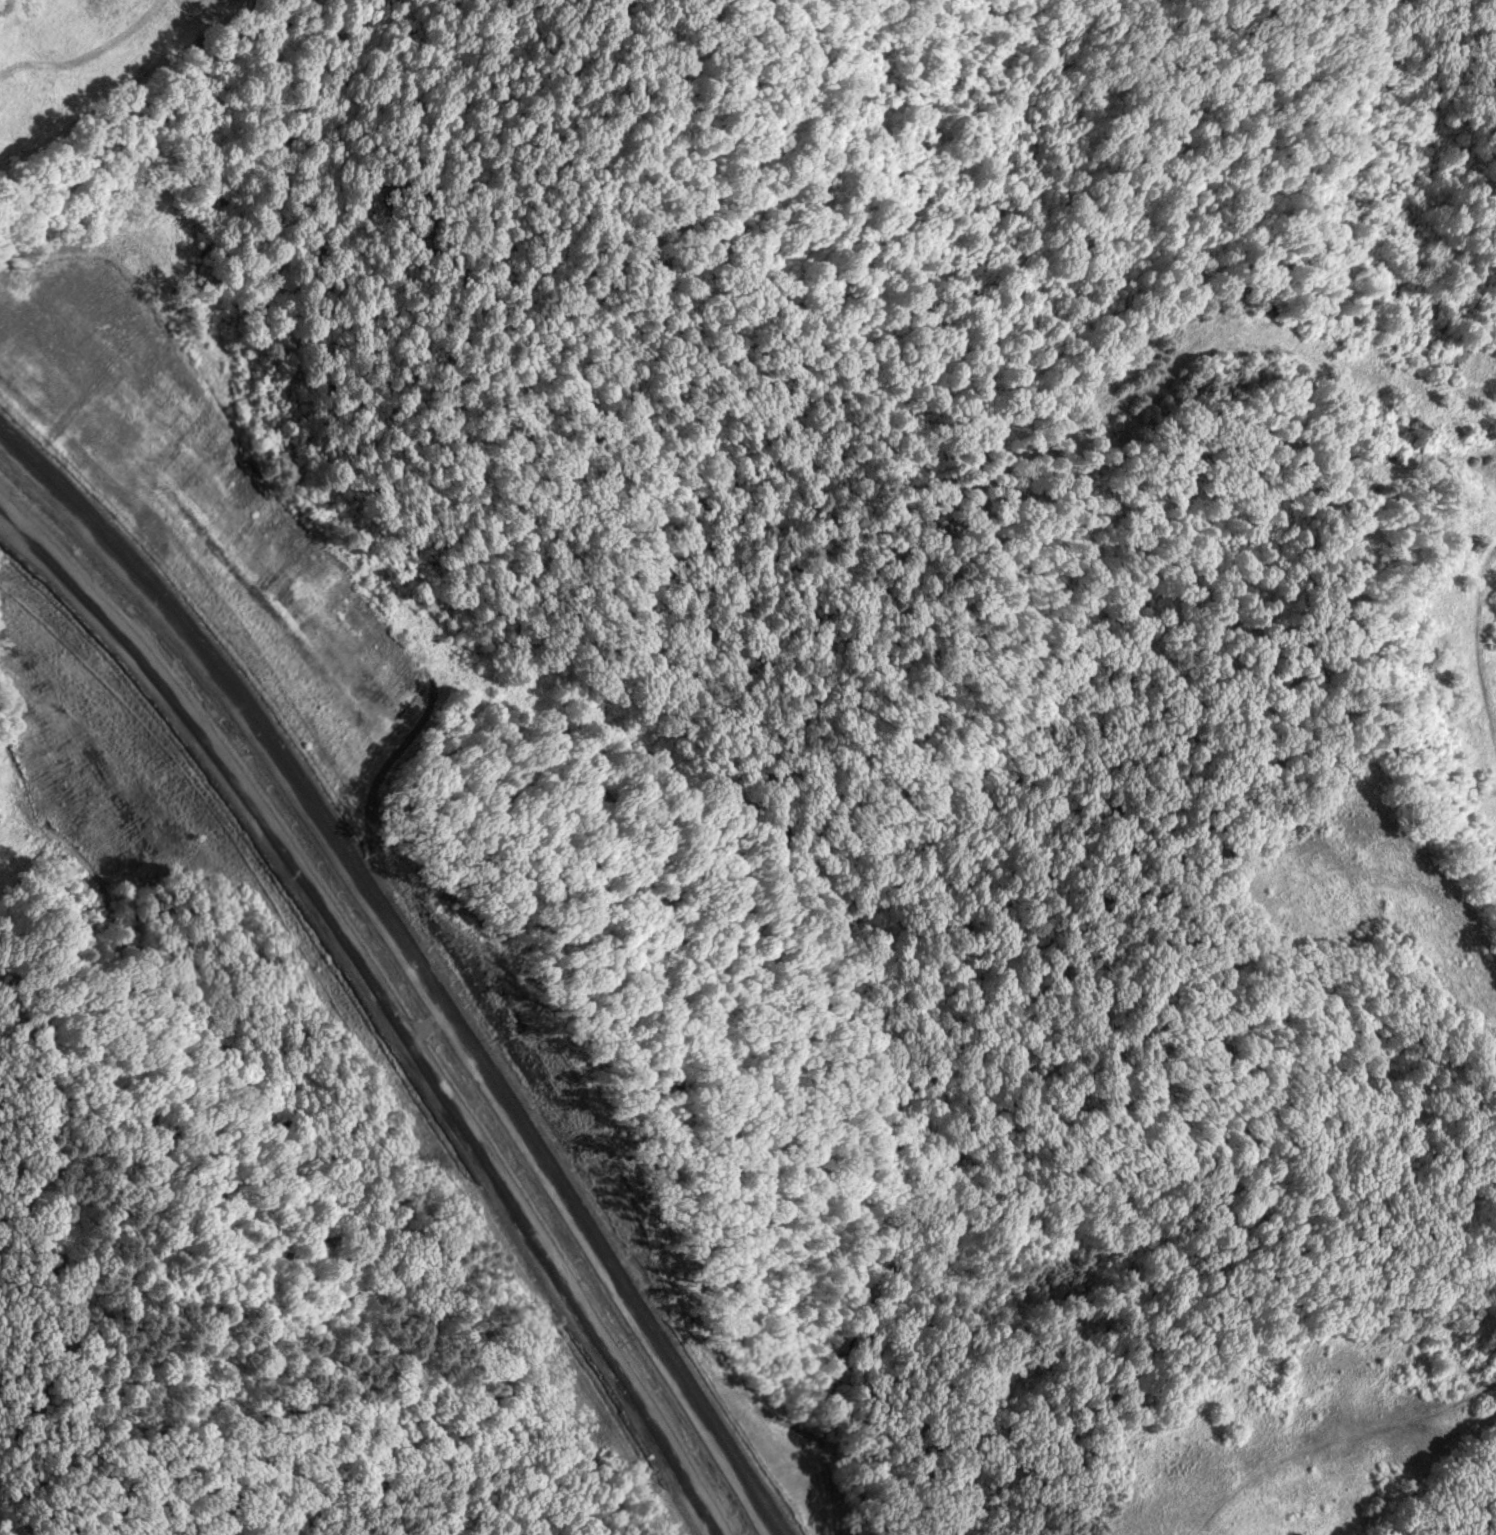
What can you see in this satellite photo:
road: (419, 960)
road: (385, 1006)

